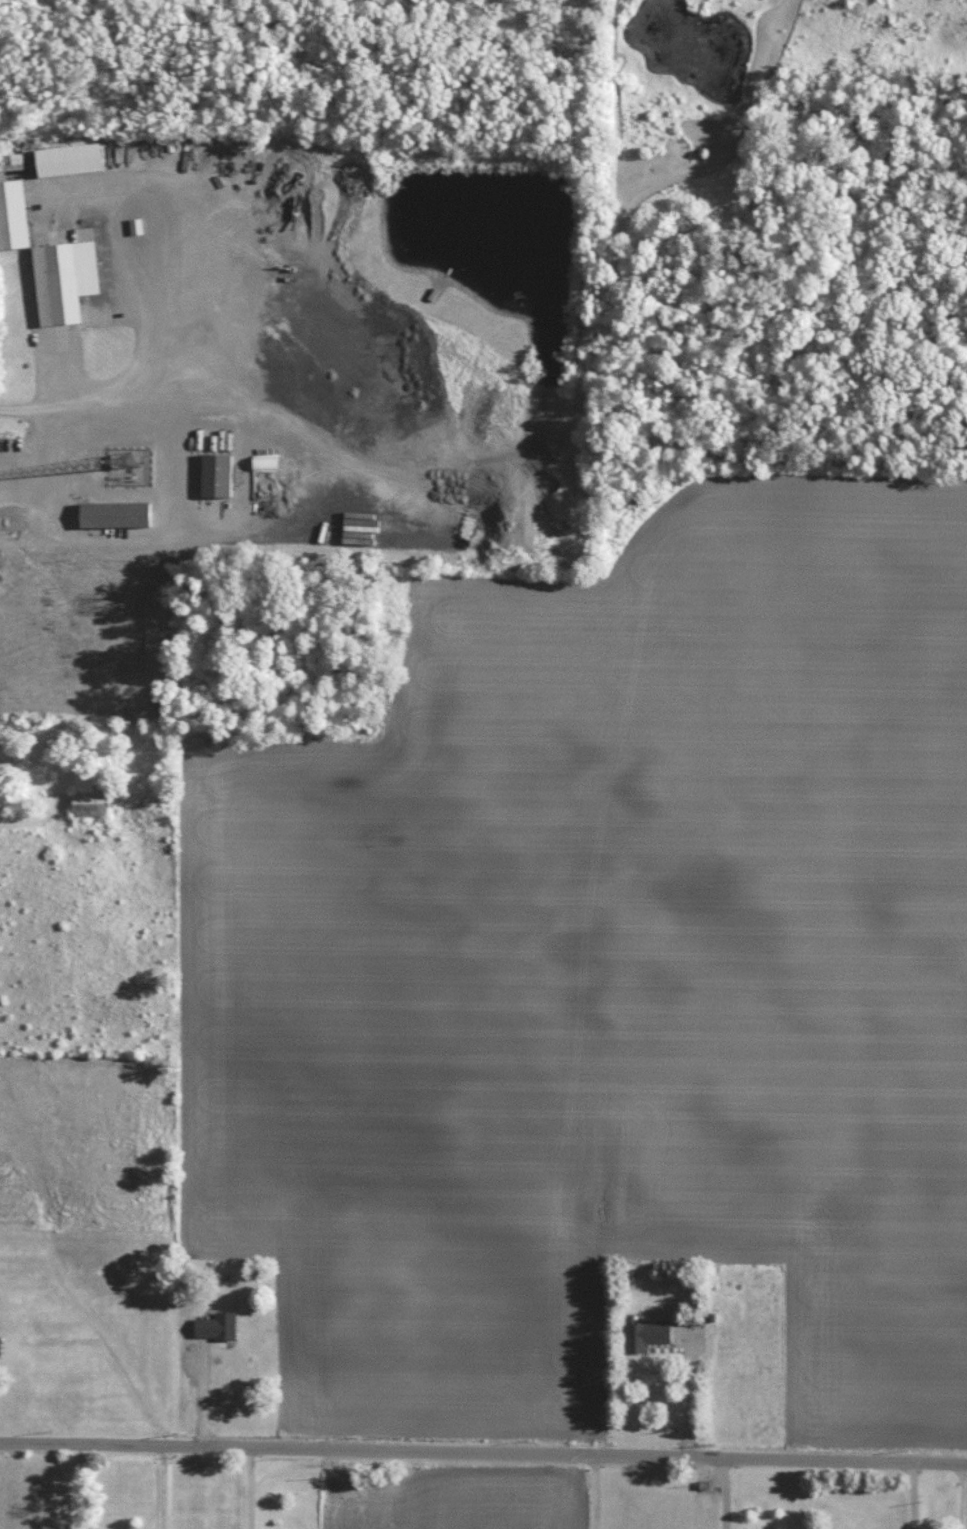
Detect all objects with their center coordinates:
building: (68, 159)
building: (13, 214)
building: (64, 279)
road: (121, 404)
building: (265, 462)
building: (216, 474)
building: (114, 514)
road: (41, 540)
building: (89, 802)
building: (216, 1325)
building: (645, 1334)
building: (0, 1342)
road: (204, 1394)
road: (688, 1399)
road: (483, 1451)
road: (164, 1487)
road: (252, 1487)
road: (595, 1491)
road: (725, 1493)
road: (913, 1495)
road: (964, 1496)

